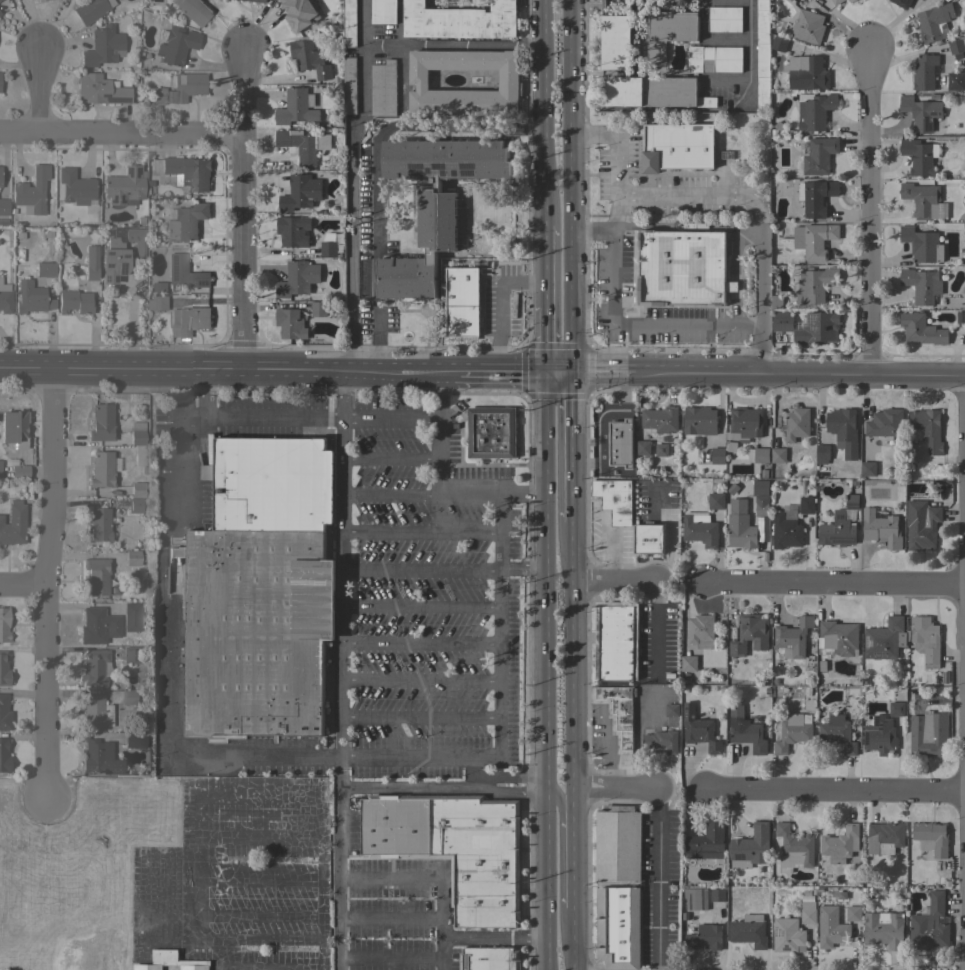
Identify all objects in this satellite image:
building: (789, 0)
building: (812, 0)
building: (946, 0)
building: (255, 1)
building: (851, 1)
building: (836, 2)
building: (901, 3)
building: (91, 9)
building: (193, 10)
building: (383, 11)
building: (300, 13)
building: (724, 19)
building: (461, 20)
road: (400, 22)
building: (934, 22)
building: (349, 23)
building: (807, 27)
building: (670, 31)
road: (363, 42)
building: (176, 44)
road: (471, 44)
building: (778, 45)
building: (103, 46)
building: (617, 47)
building: (956, 48)
road: (750, 53)
building: (762, 54)
building: (309, 59)
building: (715, 59)
building: (924, 72)
building: (806, 73)
road: (401, 77)
building: (508, 77)
building: (956, 81)
building: (349, 85)
building: (939, 85)
building: (179, 88)
building: (383, 88)
building: (99, 89)
road: (37, 91)
rooftop solar panel: (112, 98)
building: (295, 108)
building: (814, 110)
road: (543, 112)
building: (920, 113)
building: (777, 126)
building: (772, 133)
building: (787, 133)
road: (119, 134)
building: (301, 146)
building: (677, 147)
building: (818, 156)
building: (919, 156)
rooftop solar panel: (438, 166)
building: (0, 169)
road: (375, 169)
rooftop solar panel: (128, 170)
rooftop solar panel: (134, 170)
rooftop solar panel: (414, 170)
rooftop solar panel: (428, 170)
rooftop solar panel: (466, 170)
building: (189, 172)
rooftop solar panel: (442, 173)
rooftop solar panel: (454, 174)
building: (0, 181)
building: (124, 185)
building: (75, 186)
road: (572, 188)
building: (31, 191)
building: (300, 193)
road: (721, 197)
building: (815, 197)
rooftop solar panel: (113, 198)
building: (921, 199)
rooftop solar panel: (121, 200)
building: (435, 203)
rooftop solar panel: (80, 204)
building: (4, 206)
road: (240, 206)
road: (869, 206)
road: (349, 207)
building: (185, 221)
building: (293, 231)
road: (595, 231)
building: (136, 240)
building: (813, 240)
building: (922, 244)
building: (961, 244)
building: (328, 249)
rooftop solar panel: (108, 252)
rooftop solar panel: (124, 255)
building: (113, 260)
building: (91, 261)
building: (47, 262)
rooftop solar panel: (108, 264)
rooftop solar panel: (121, 266)
road: (544, 266)
building: (682, 268)
building: (184, 271)
rooftop solar panel: (105, 278)
rooftop solar panel: (114, 278)
building: (297, 278)
building: (814, 284)
building: (157, 285)
building: (921, 285)
building: (31, 297)
building: (5, 300)
building: (75, 301)
building: (156, 302)
building: (463, 302)
building: (776, 302)
road: (499, 305)
building: (319, 307)
building: (960, 318)
rooftop solar panel: (809, 319)
building: (188, 320)
building: (781, 322)
road: (626, 323)
building: (290, 324)
building: (816, 328)
building: (922, 330)
road: (545, 342)
road: (482, 374)
traffic signals: (573, 376)
traffic signals: (545, 377)
road: (205, 392)
road: (391, 418)
building: (659, 420)
building: (699, 421)
building: (101, 422)
building: (885, 423)
building: (744, 424)
building: (796, 425)
building: (13, 427)
building: (928, 429)
building: (844, 431)
road: (441, 433)
building: (491, 433)
building: (137, 436)
building: (621, 443)
building: (730, 447)
building: (643, 448)
road: (573, 449)
building: (661, 450)
building: (822, 454)
building: (717, 455)
building: (758, 455)
building: (778, 455)
road: (392, 460)
building: (867, 468)
building: (102, 469)
building: (19, 470)
building: (763, 474)
building: (271, 484)
building: (761, 488)
building: (138, 489)
building: (731, 490)
road: (393, 493)
road: (493, 493)
building: (614, 500)
building: (715, 501)
building: (852, 502)
building: (137, 504)
building: (761, 505)
building: (806, 505)
rooftop solar panel: (855, 505)
rooftop solar panel: (839, 517)
building: (13, 523)
building: (98, 524)
building: (921, 525)
building: (740, 526)
building: (786, 528)
building: (881, 528)
building: (700, 529)
road: (501, 531)
building: (837, 531)
road: (423, 532)
building: (649, 538)
rooftop solar panel: (842, 539)
building: (133, 557)
road: (423, 570)
road: (523, 570)
building: (97, 575)
road: (343, 578)
road: (52, 584)
road: (615, 584)
road: (835, 587)
road: (26, 588)
road: (160, 597)
road: (656, 598)
road: (422, 606)
building: (131, 609)
building: (4, 625)
building: (97, 625)
building: (256, 631)
building: (701, 631)
building: (811, 633)
building: (750, 634)
building: (793, 638)
building: (838, 638)
building: (812, 640)
building: (884, 640)
building: (926, 640)
building: (616, 641)
rooftop solar panel: (868, 642)
road: (422, 644)
road: (655, 644)
building: (131, 655)
rooftop solar panel: (878, 655)
road: (574, 657)
building: (688, 665)
building: (821, 666)
building: (4, 668)
building: (95, 668)
road: (544, 673)
building: (667, 674)
building: (944, 679)
road: (421, 681)
building: (776, 682)
building: (864, 682)
building: (855, 684)
road: (501, 691)
building: (766, 691)
building: (807, 692)
building: (123, 696)
building: (896, 709)
building: (671, 710)
building: (4, 713)
building: (96, 713)
building: (617, 713)
road: (421, 717)
building: (755, 719)
rooftop solar panel: (875, 721)
building: (699, 730)
building: (793, 732)
building: (747, 733)
building: (837, 733)
building: (928, 735)
building: (879, 736)
rooftop solar panel: (865, 738)
building: (131, 740)
building: (660, 741)
building: (4, 755)
road: (407, 756)
building: (99, 757)
rooftop solar panel: (86, 768)
rooftop solar panel: (111, 773)
road: (407, 787)
road: (509, 792)
road: (618, 792)
road: (836, 792)
road: (200, 797)
road: (560, 808)
building: (884, 837)
building: (931, 838)
road: (259, 839)
building: (706, 843)
building: (618, 844)
building: (840, 844)
building: (454, 848)
building: (750, 848)
building: (793, 848)
road: (574, 850)
rooftop solar panel: (738, 856)
road: (339, 878)
road: (230, 879)
building: (777, 879)
road: (657, 881)
building: (818, 890)
building: (806, 893)
building: (718, 895)
road: (140, 897)
building: (695, 899)
rooftop solar panel: (689, 900)
rooftop solar panel: (701, 900)
road: (444, 907)
building: (808, 913)
building: (853, 914)
road: (170, 915)
road: (259, 915)
road: (391, 919)
building: (930, 924)
building: (618, 927)
rooftop solar panel: (689, 928)
building: (830, 928)
building: (884, 930)
building: (748, 931)
rooftop solar panel: (778, 932)
building: (787, 935)
building: (702, 936)
road: (575, 939)
road: (444, 949)
road: (222, 954)
road: (320, 954)
road: (391, 959)
building: (489, 959)
building: (170, 961)
road: (444, 964)

